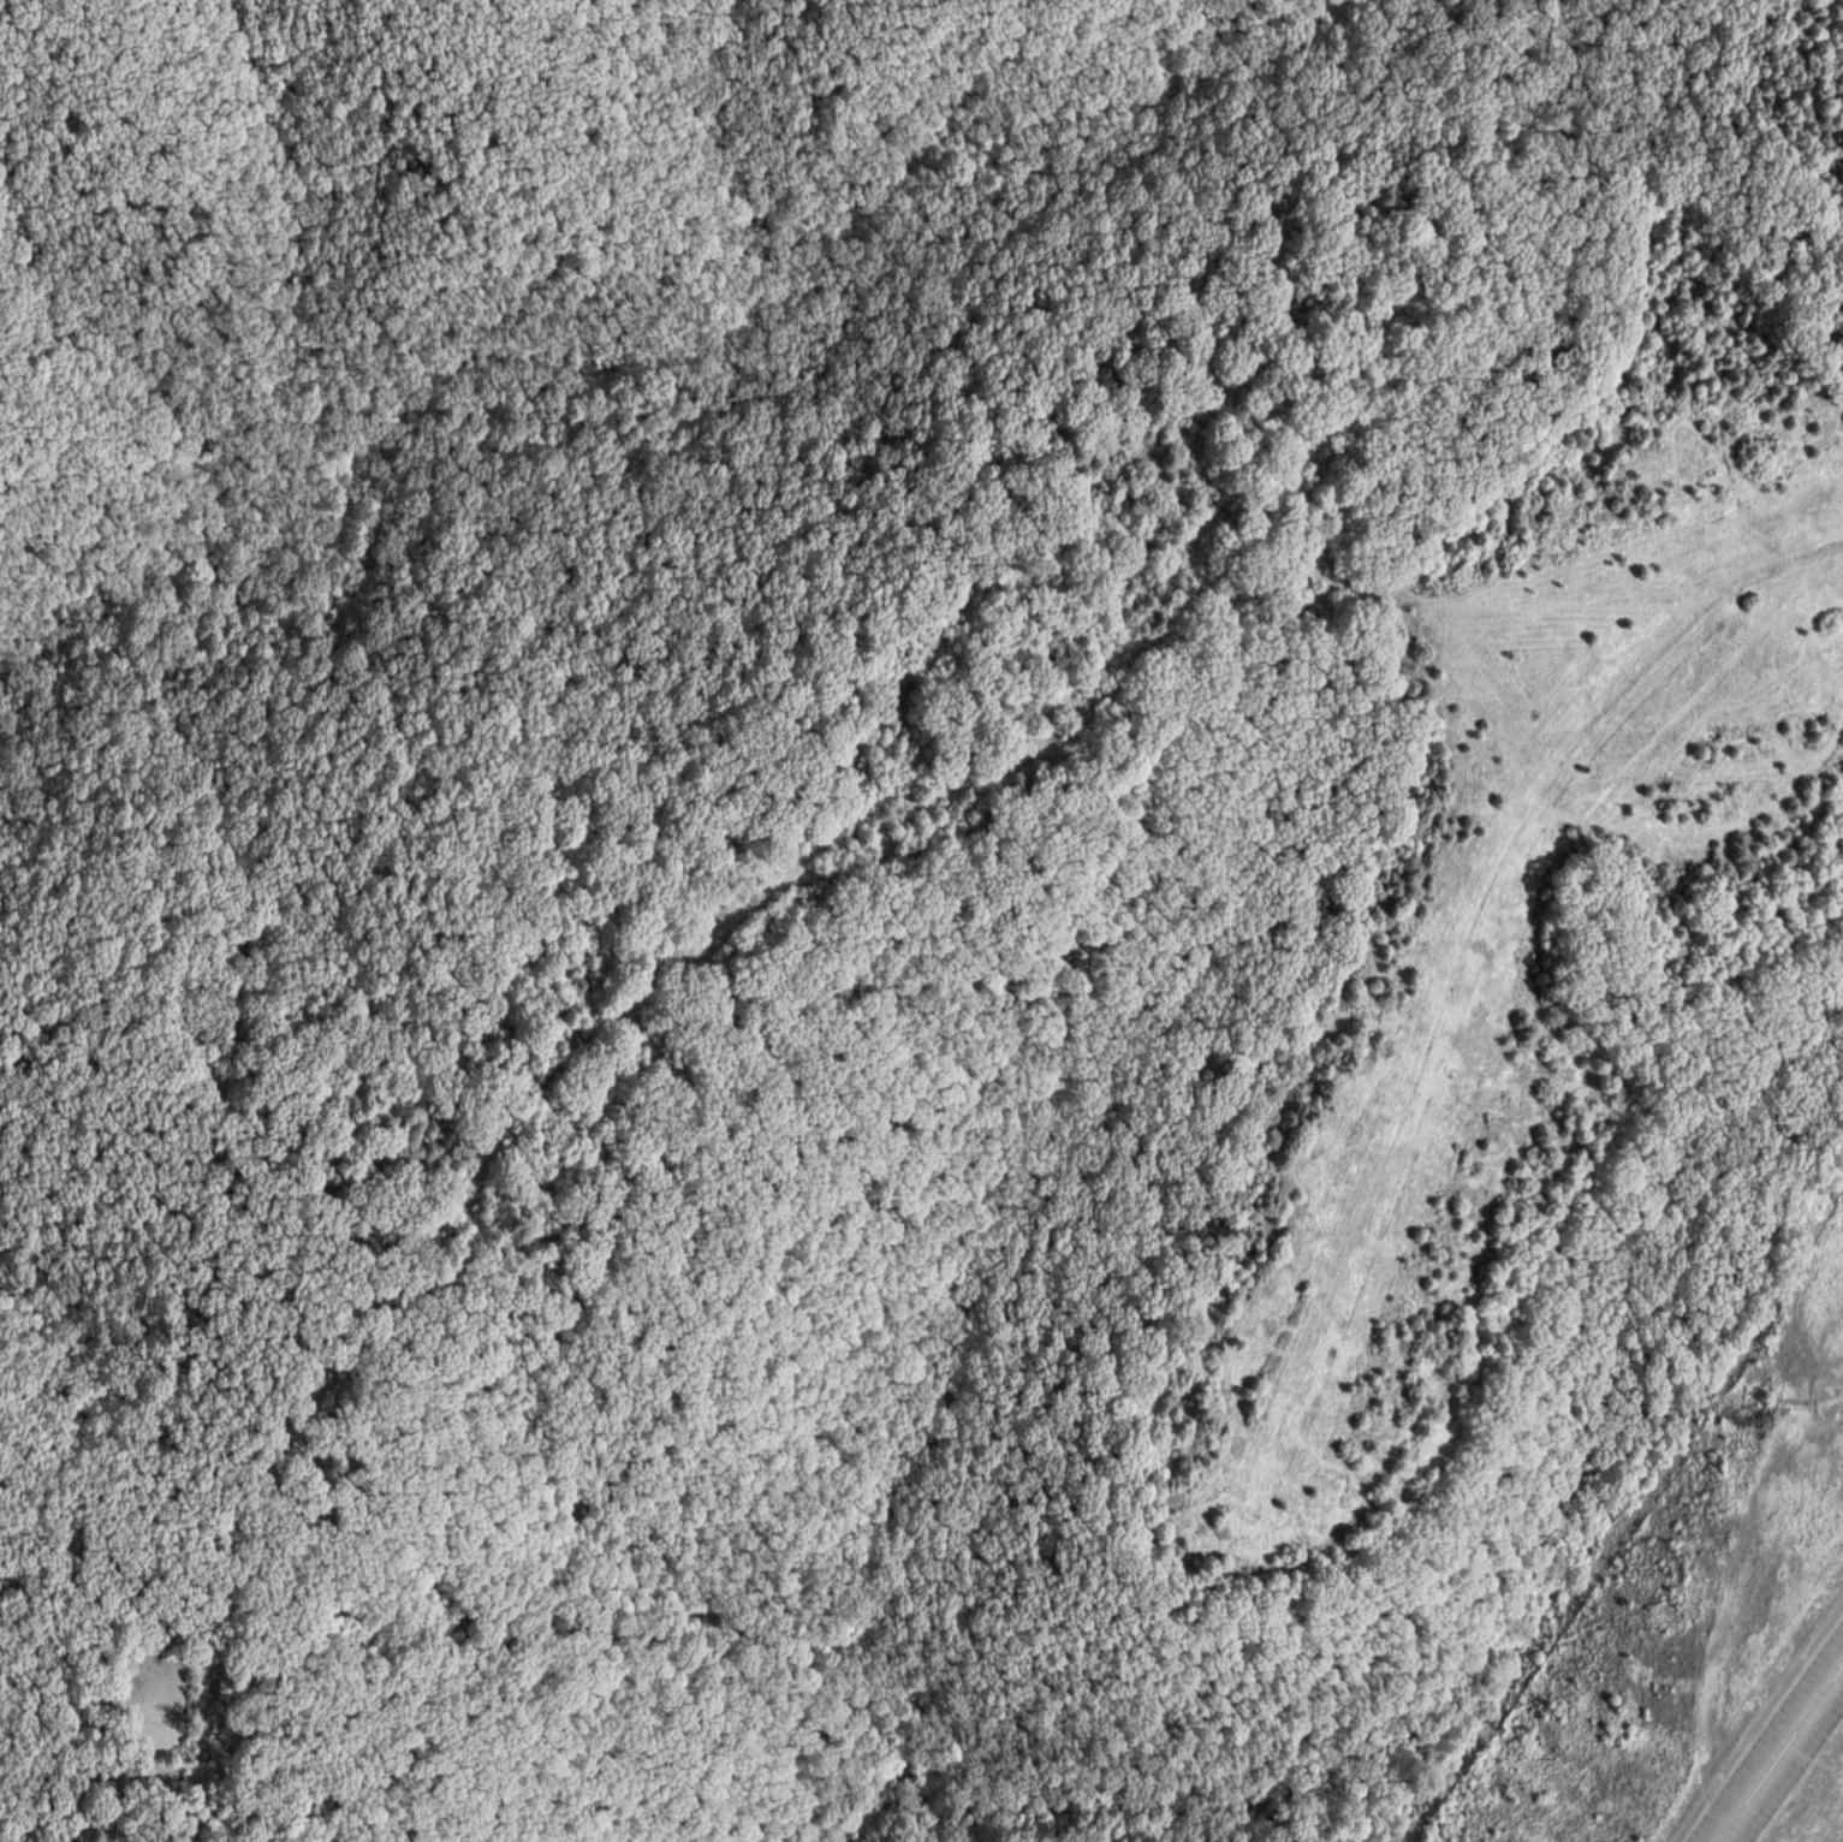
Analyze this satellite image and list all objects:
airport runway: (1784, 1761)

